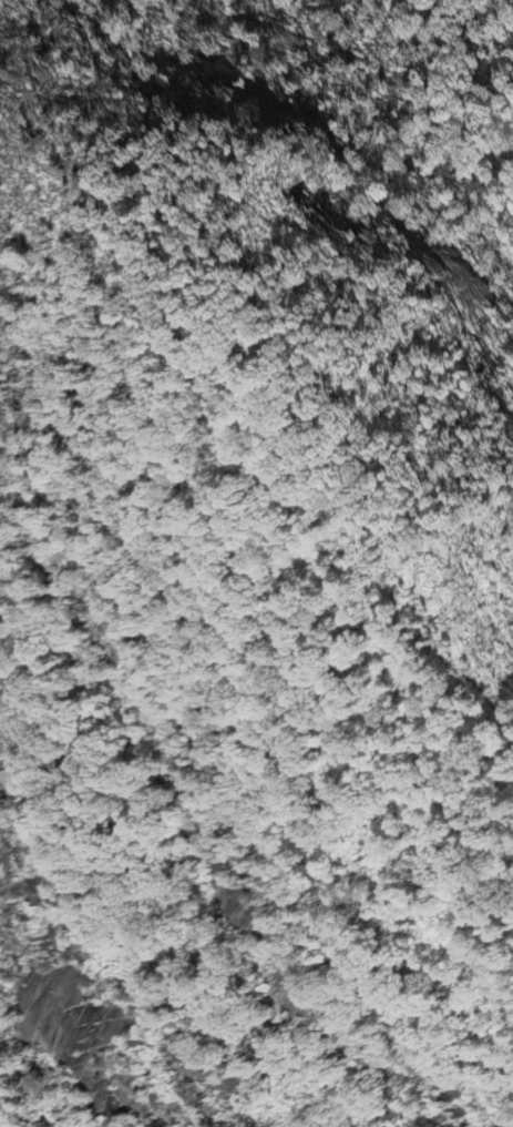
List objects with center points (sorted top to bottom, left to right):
park: (438, 54)
road: (239, 437)
park: (283, 781)

